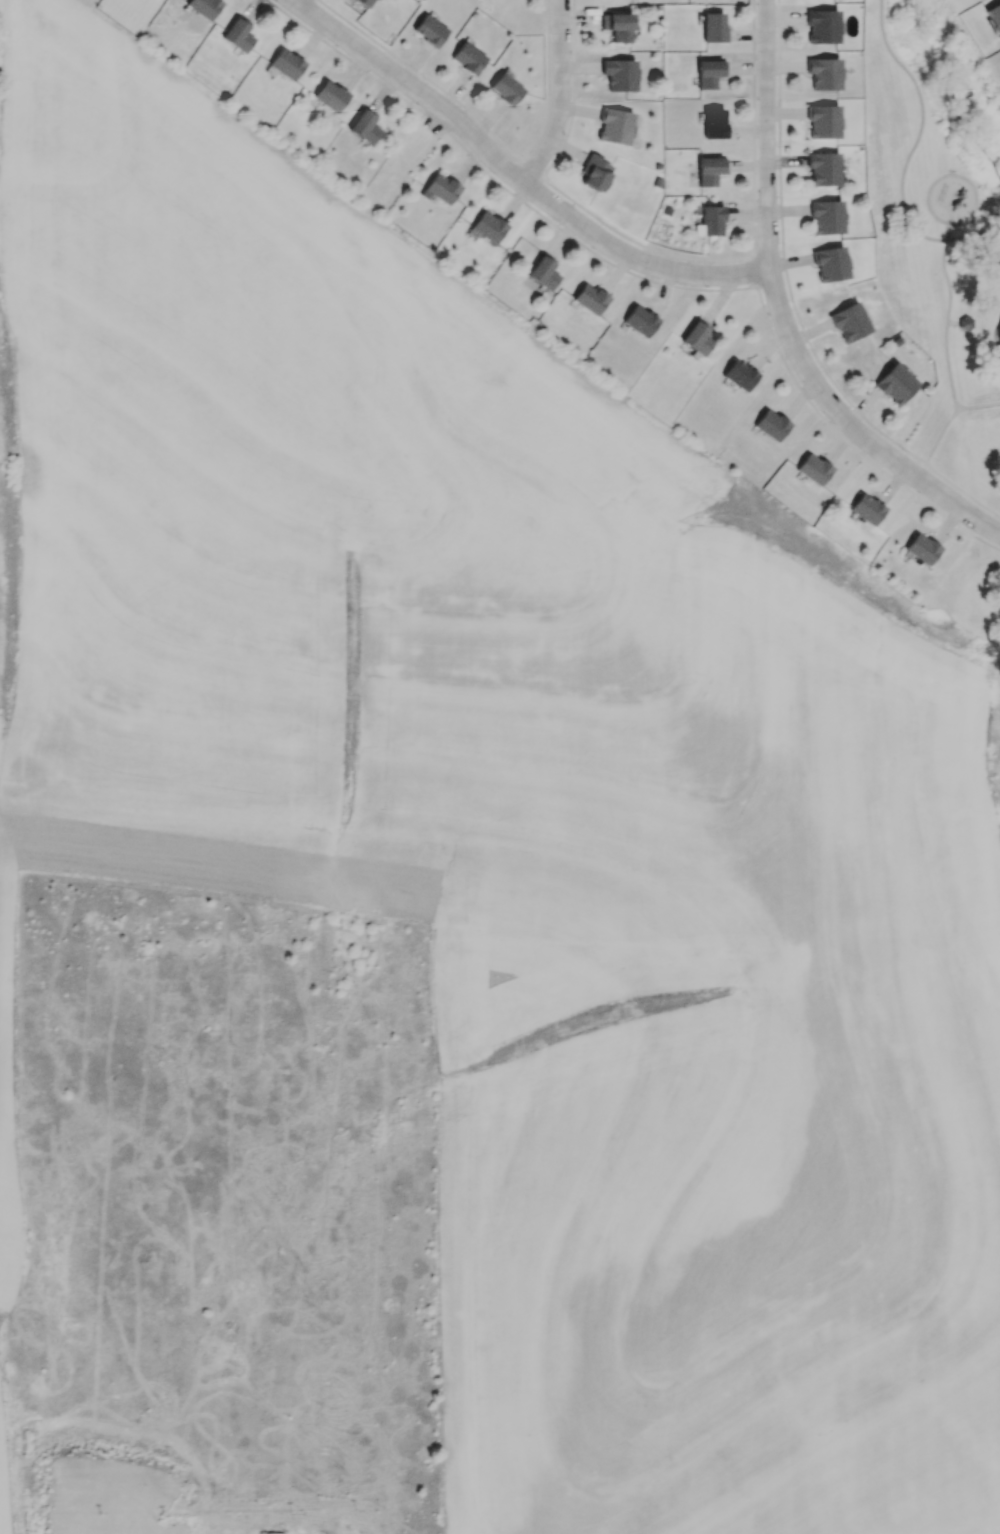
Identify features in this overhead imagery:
road: (294, 1)
building: (362, 3)
building: (204, 8)
building: (993, 15)
building: (617, 25)
building: (821, 25)
building: (712, 27)
building: (429, 30)
building: (237, 35)
building: (468, 57)
building: (285, 63)
building: (708, 72)
building: (619, 73)
building: (823, 73)
building: (505, 88)
road: (559, 94)
building: (329, 95)
building: (821, 121)
building: (713, 123)
building: (614, 124)
building: (364, 126)
road: (489, 129)
road: (905, 158)
road: (530, 168)
building: (822, 169)
building: (594, 170)
building: (708, 170)
road: (513, 173)
building: (440, 188)
road: (926, 195)
building: (826, 217)
building: (710, 219)
park: (938, 222)
building: (488, 226)
road: (671, 255)
building: (829, 264)
building: (542, 272)
road: (943, 272)
road: (651, 280)
building: (590, 299)
road: (792, 302)
road: (781, 313)
building: (639, 321)
road: (954, 321)
building: (848, 322)
building: (696, 338)
road: (948, 364)
building: (739, 375)
building: (894, 385)
road: (946, 421)
building: (771, 424)
building: (814, 470)
building: (866, 509)
building: (921, 549)
crop: (529, 821)
crop: (2, 1445)
building: (275, 1533)

